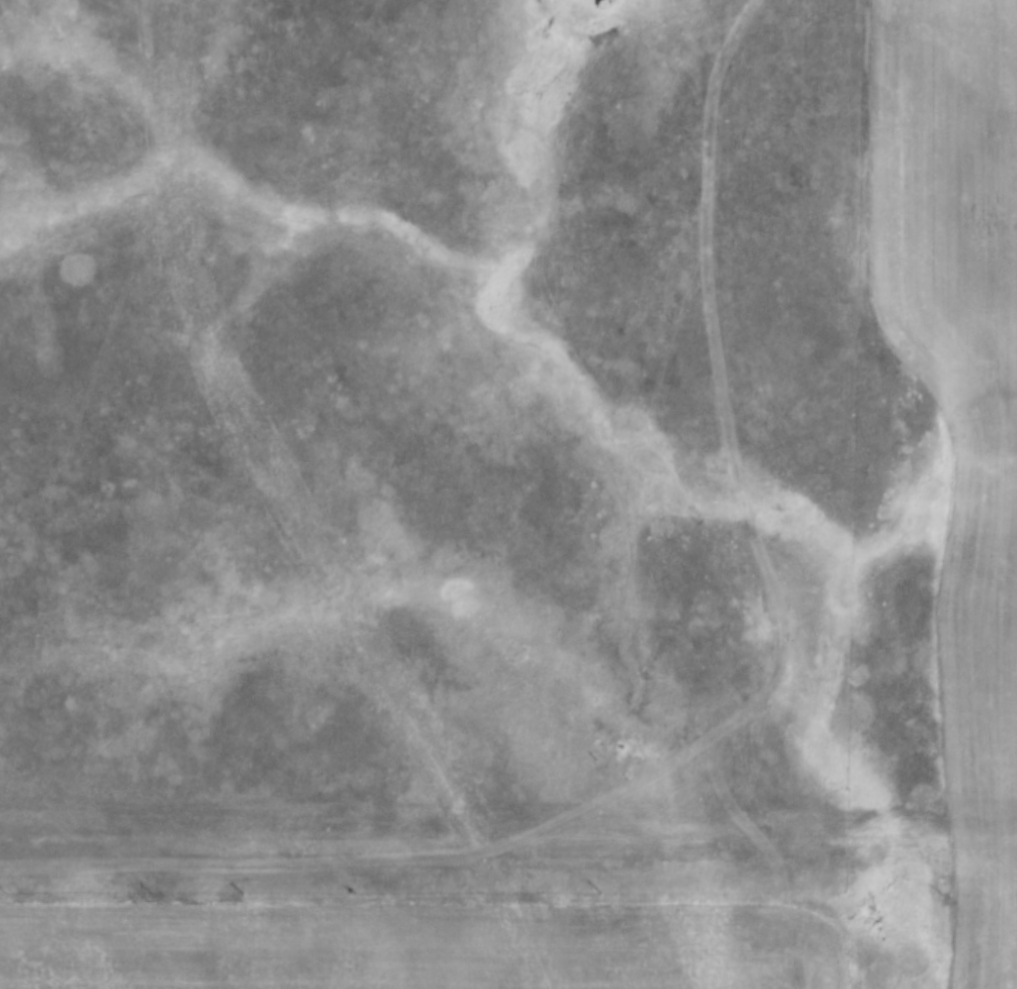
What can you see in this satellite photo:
road: (733, 720)

